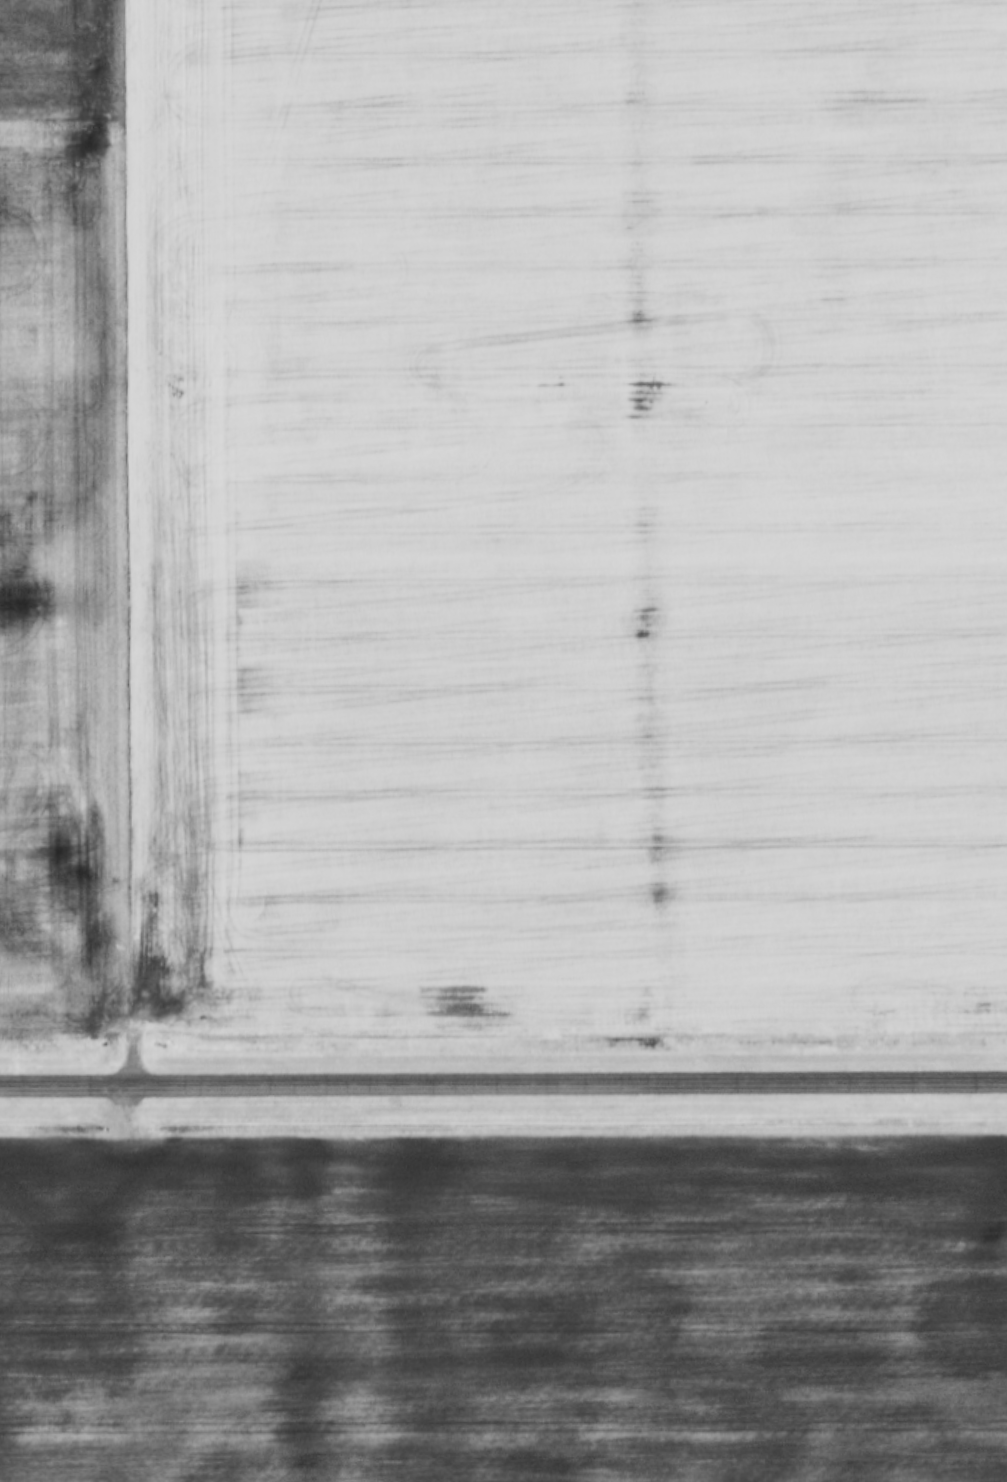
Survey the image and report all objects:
road: (503, 1087)

